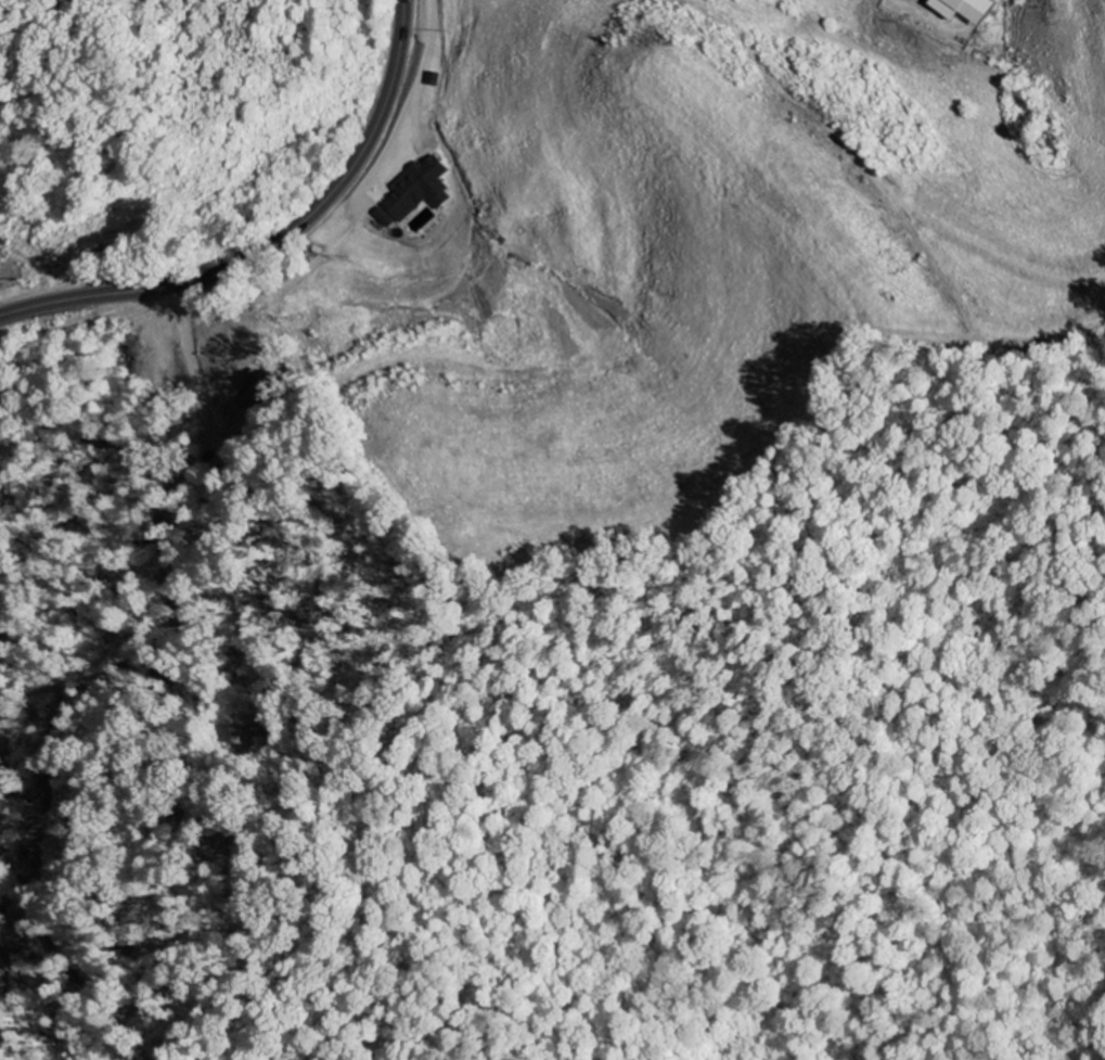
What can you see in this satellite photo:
building: (971, 10)
building: (421, 190)
building: (385, 218)
road: (272, 242)
building: (0, 279)

